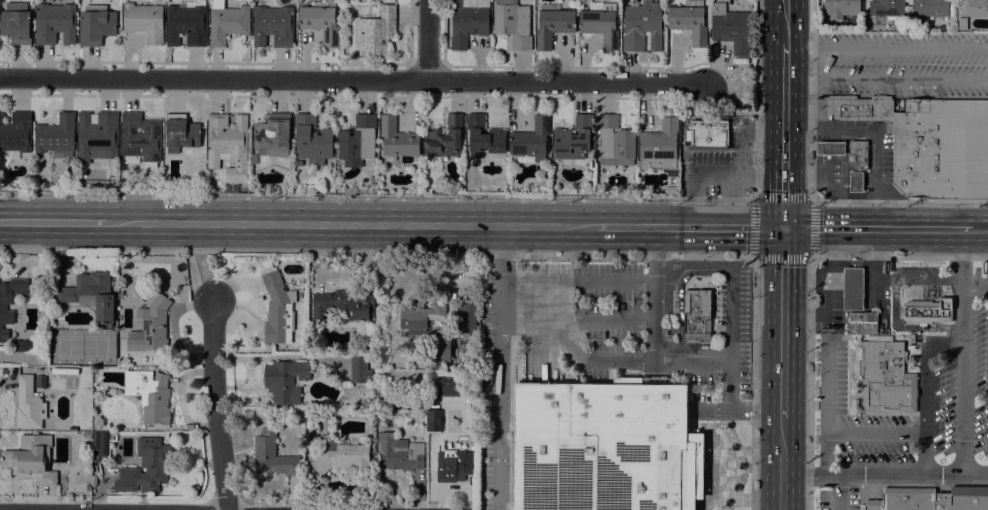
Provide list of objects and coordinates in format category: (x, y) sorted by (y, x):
building: (216, 3)
building: (887, 8)
building: (930, 8)
building: (974, 8)
building: (842, 9)
building: (689, 20)
building: (144, 21)
building: (468, 21)
building: (16, 22)
building: (320, 22)
building: (54, 23)
building: (187, 23)
building: (227, 23)
building: (513, 23)
building: (821, 23)
building: (962, 23)
building: (96, 24)
road: (786, 24)
building: (553, 25)
building: (600, 25)
building: (273, 26)
building: (641, 27)
building: (730, 28)
building: (374, 32)
road: (431, 39)
road: (985, 66)
road: (215, 78)
road: (567, 81)
road: (758, 99)
building: (860, 108)
road: (723, 113)
building: (16, 133)
building: (181, 133)
building: (273, 133)
building: (56, 135)
building: (444, 135)
building: (708, 135)
building: (97, 136)
building: (484, 136)
building: (358, 138)
building: (397, 138)
building: (573, 138)
road: (785, 138)
building: (531, 139)
building: (140, 140)
building: (312, 140)
building: (614, 142)
building: (228, 144)
building: (659, 145)
building: (830, 148)
gas station: (830, 148)
building: (941, 149)
building: (857, 155)
road: (741, 159)
road: (709, 171)
road: (833, 179)
building: (855, 181)
building: (578, 185)
building: (232, 188)
road: (811, 189)
road: (377, 195)
road: (809, 199)
road: (52, 223)
road: (350, 224)
road: (690, 227)
traffic signals: (784, 228)
road: (875, 229)
road: (978, 229)
road: (655, 246)
road: (503, 253)
road: (498, 254)
road: (966, 256)
road: (691, 266)
road: (204, 277)
road: (576, 283)
road: (977, 284)
building: (853, 289)
gas station: (853, 289)
road: (677, 294)
road: (810, 294)
road: (854, 294)
building: (67, 298)
building: (9, 301)
building: (344, 304)
building: (278, 310)
building: (928, 311)
building: (696, 313)
road: (654, 314)
road: (730, 314)
building: (419, 317)
building: (468, 318)
road: (576, 321)
parking lot: (659, 323)
road: (782, 323)
building: (862, 323)
building: (150, 328)
building: (878, 337)
building: (439, 347)
road: (607, 363)
road: (691, 363)
building: (359, 369)
road: (929, 372)
building: (886, 379)
road: (967, 379)
building: (285, 380)
building: (454, 385)
road: (730, 388)
parking lot: (953, 393)
building: (149, 394)
road: (497, 397)
parking lot: (490, 402)
building: (28, 405)
road: (214, 405)
road: (827, 407)
road: (709, 413)
road: (755, 413)
building: (433, 416)
building: (87, 435)
road: (878, 439)
building: (95, 440)
building: (103, 443)
building: (605, 447)
building: (398, 452)
building: (272, 455)
building: (342, 457)
road: (928, 457)
building: (31, 459)
building: (447, 464)
building: (145, 465)
road: (781, 465)
road: (884, 473)
building: (308, 475)
building: (94, 480)
building: (87, 488)
road: (838, 491)
building: (930, 499)

